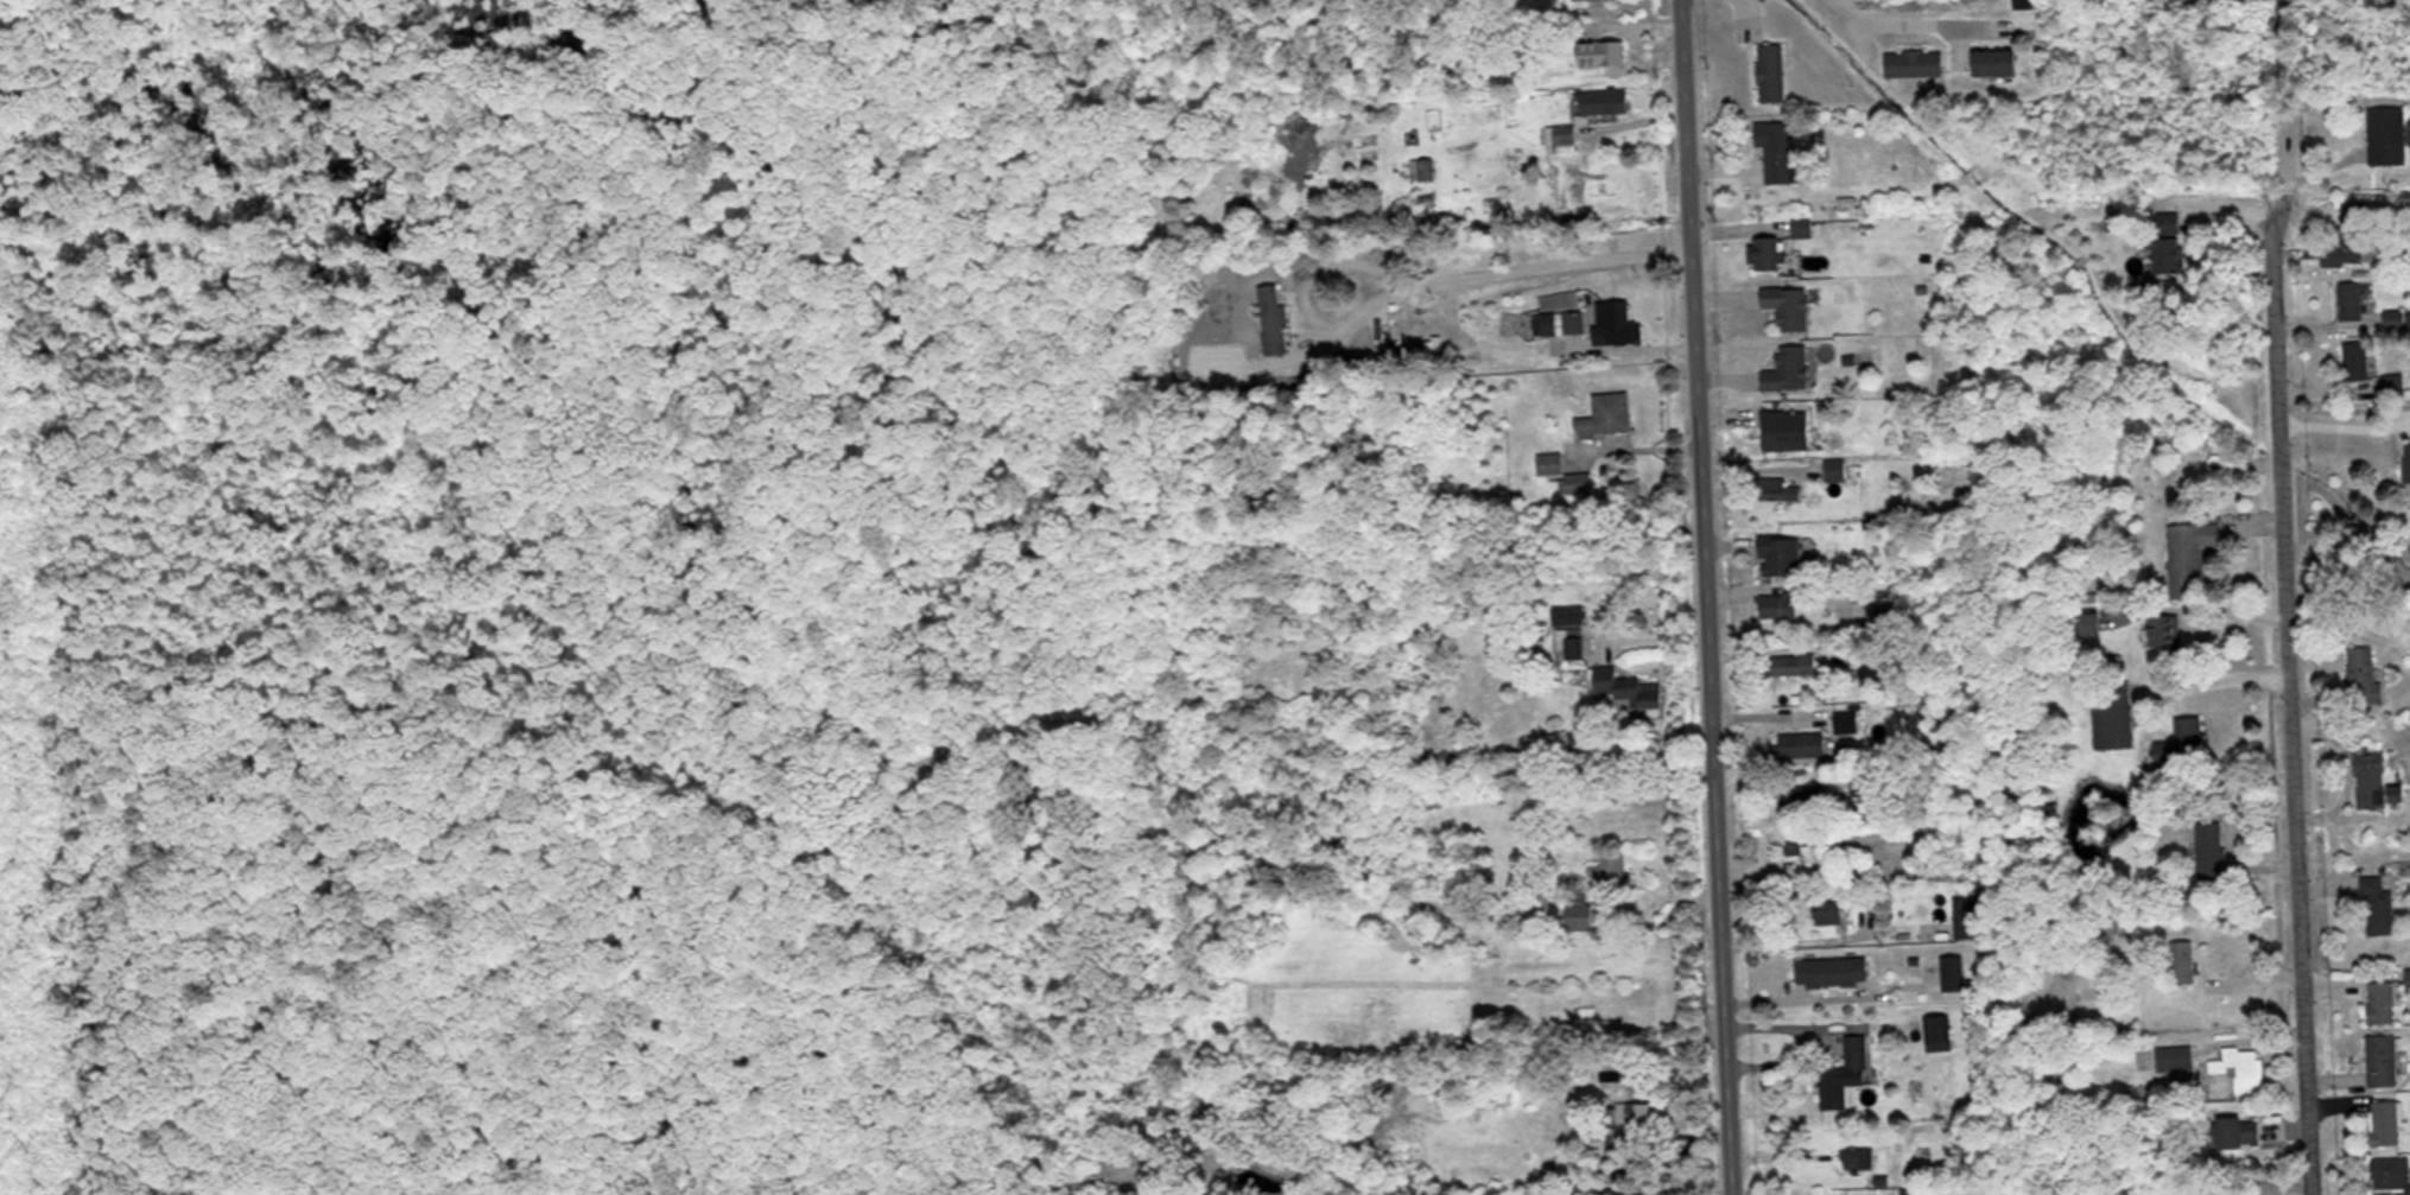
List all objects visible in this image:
building: (2025, 4)
building: (1603, 53)
building: (1997, 62)
building: (1915, 63)
building: (1772, 72)
building: (1610, 101)
building: (2409, 123)
building: (1565, 134)
building: (2387, 135)
building: (1777, 151)
building: (1427, 170)
building: (2170, 222)
building: (2349, 237)
building: (1769, 253)
building: (2170, 255)
building: (2353, 298)
building: (1789, 306)
building: (1274, 311)
building: (1617, 322)
building: (1559, 323)
building: (2357, 360)
building: (1793, 368)
building: (1607, 414)
building: (1788, 430)
building: (2408, 460)
building: (1835, 469)
building: (1564, 473)
building: (1778, 488)
building: (1782, 555)
building: (2190, 555)
road: (1699, 597)
road: (2281, 597)
building: (1778, 605)
building: (1569, 615)
building: (1881, 616)
building: (2164, 630)
building: (1569, 647)
building: (1793, 665)
building: (2365, 676)
building: (1629, 687)
building: (2114, 716)
building: (1846, 719)
building: (1800, 742)
building: (2182, 743)
building: (2371, 778)
building: (1864, 782)
building: (1805, 797)
building: (1802, 845)
building: (2211, 847)
building: (1612, 866)
building: (2377, 905)
building: (1827, 909)
building: (1578, 910)
building: (1970, 915)
building: (2183, 960)
building: (1833, 970)
building: (1953, 971)
building: (2409, 979)
building: (2382, 1002)
building: (1937, 1031)
building: (2382, 1059)
building: (2175, 1061)
building: (2241, 1067)
building: (1845, 1073)
building: (1626, 1114)
building: (2386, 1121)
building: (2239, 1131)
building: (1858, 1157)
building: (2392, 1171)

